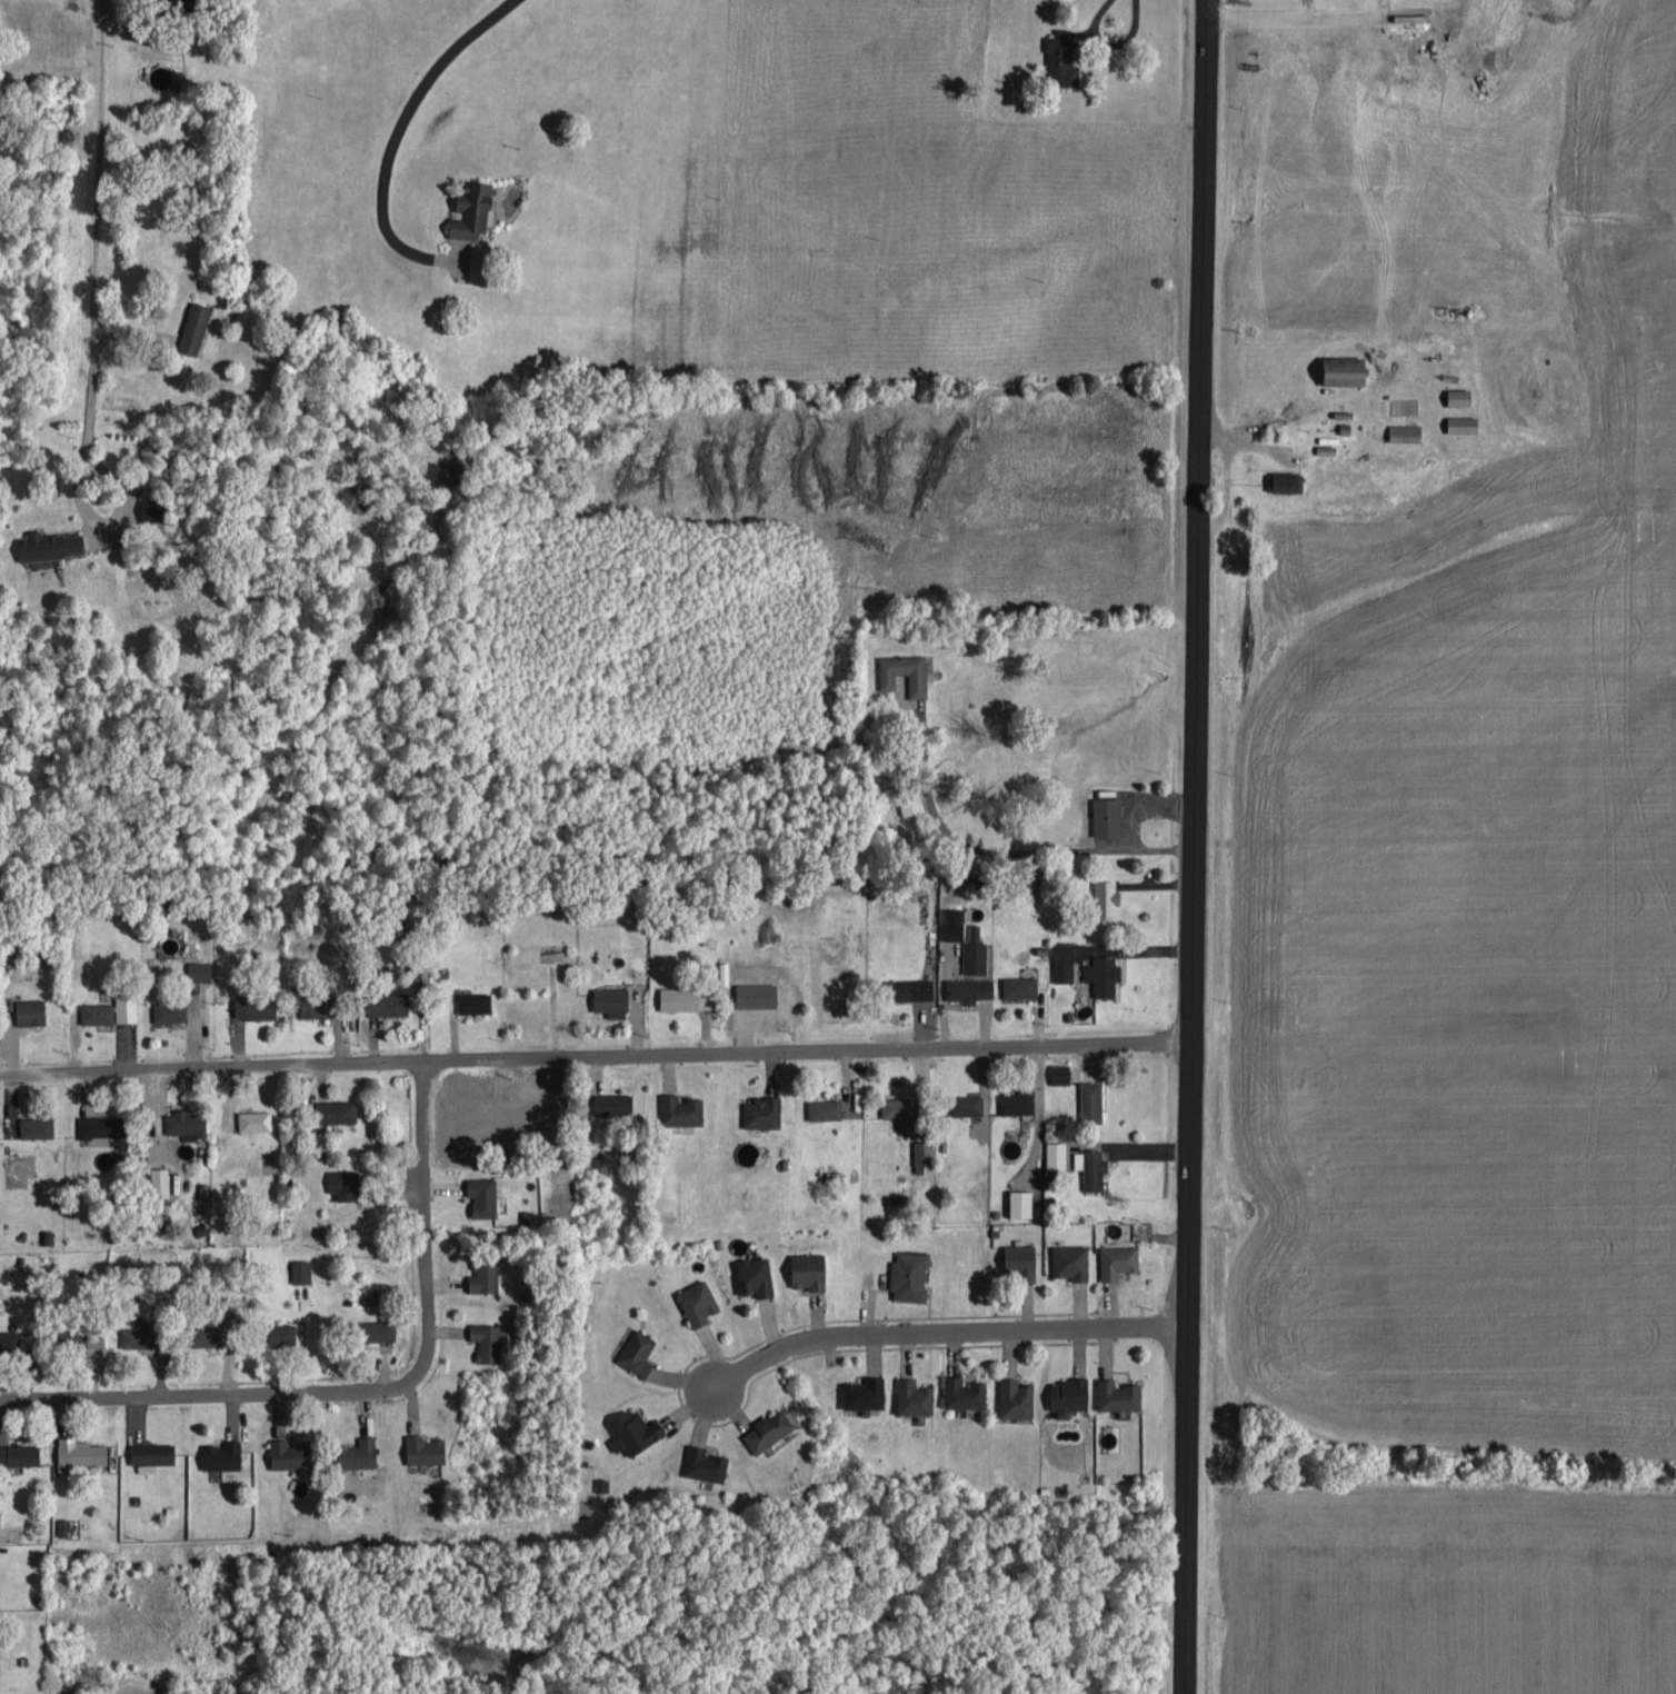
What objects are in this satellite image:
road: (1315, 13)
building: (1060, 57)
building: (159, 76)
road: (396, 131)
road: (96, 172)
building: (473, 209)
building: (194, 326)
building: (1347, 369)
building: (1460, 395)
building: (1463, 422)
building: (1405, 430)
road: (84, 439)
building: (1285, 480)
building: (151, 507)
building: (50, 544)
building: (917, 680)
building: (911, 803)
building: (1107, 814)
road: (1191, 846)
building: (1106, 896)
building: (965, 938)
building: (1063, 960)
building: (200, 968)
building: (1103, 973)
building: (1019, 985)
building: (914, 987)
building: (968, 987)
building: (611, 999)
building: (475, 1000)
building: (387, 1002)
building: (126, 1004)
building: (319, 1004)
building: (256, 1005)
building: (30, 1009)
building: (169, 1009)
building: (97, 1010)
road: (593, 1053)
building: (1059, 1072)
building: (1091, 1097)
building: (1017, 1099)
building: (613, 1102)
building: (966, 1103)
building: (680, 1107)
building: (824, 1107)
building: (337, 1108)
building: (897, 1108)
building: (762, 1109)
building: (255, 1118)
building: (184, 1120)
building: (103, 1124)
building: (37, 1125)
building: (1055, 1153)
building: (924, 1154)
building: (1090, 1165)
building: (161, 1179)
building: (346, 1182)
building: (483, 1194)
building: (1021, 1200)
building: (1020, 1257)
building: (1070, 1258)
building: (1117, 1258)
building: (300, 1268)
building: (809, 1268)
building: (486, 1273)
building: (910, 1273)
building: (755, 1274)
building: (370, 1297)
building: (698, 1301)
building: (380, 1328)
road: (946, 1331)
building: (141, 1332)
building: (280, 1332)
building: (207, 1333)
building: (79, 1335)
building: (16, 1338)
building: (487, 1339)
building: (638, 1352)
road: (366, 1389)
building: (965, 1391)
building: (865, 1392)
building: (1069, 1393)
building: (1118, 1393)
building: (914, 1395)
building: (1016, 1396)
building: (768, 1428)
building: (635, 1429)
building: (425, 1447)
building: (81, 1449)
building: (19, 1452)
building: (360, 1452)
building: (151, 1453)
building: (222, 1453)
building: (289, 1453)
building: (705, 1462)
building: (61, 1525)

